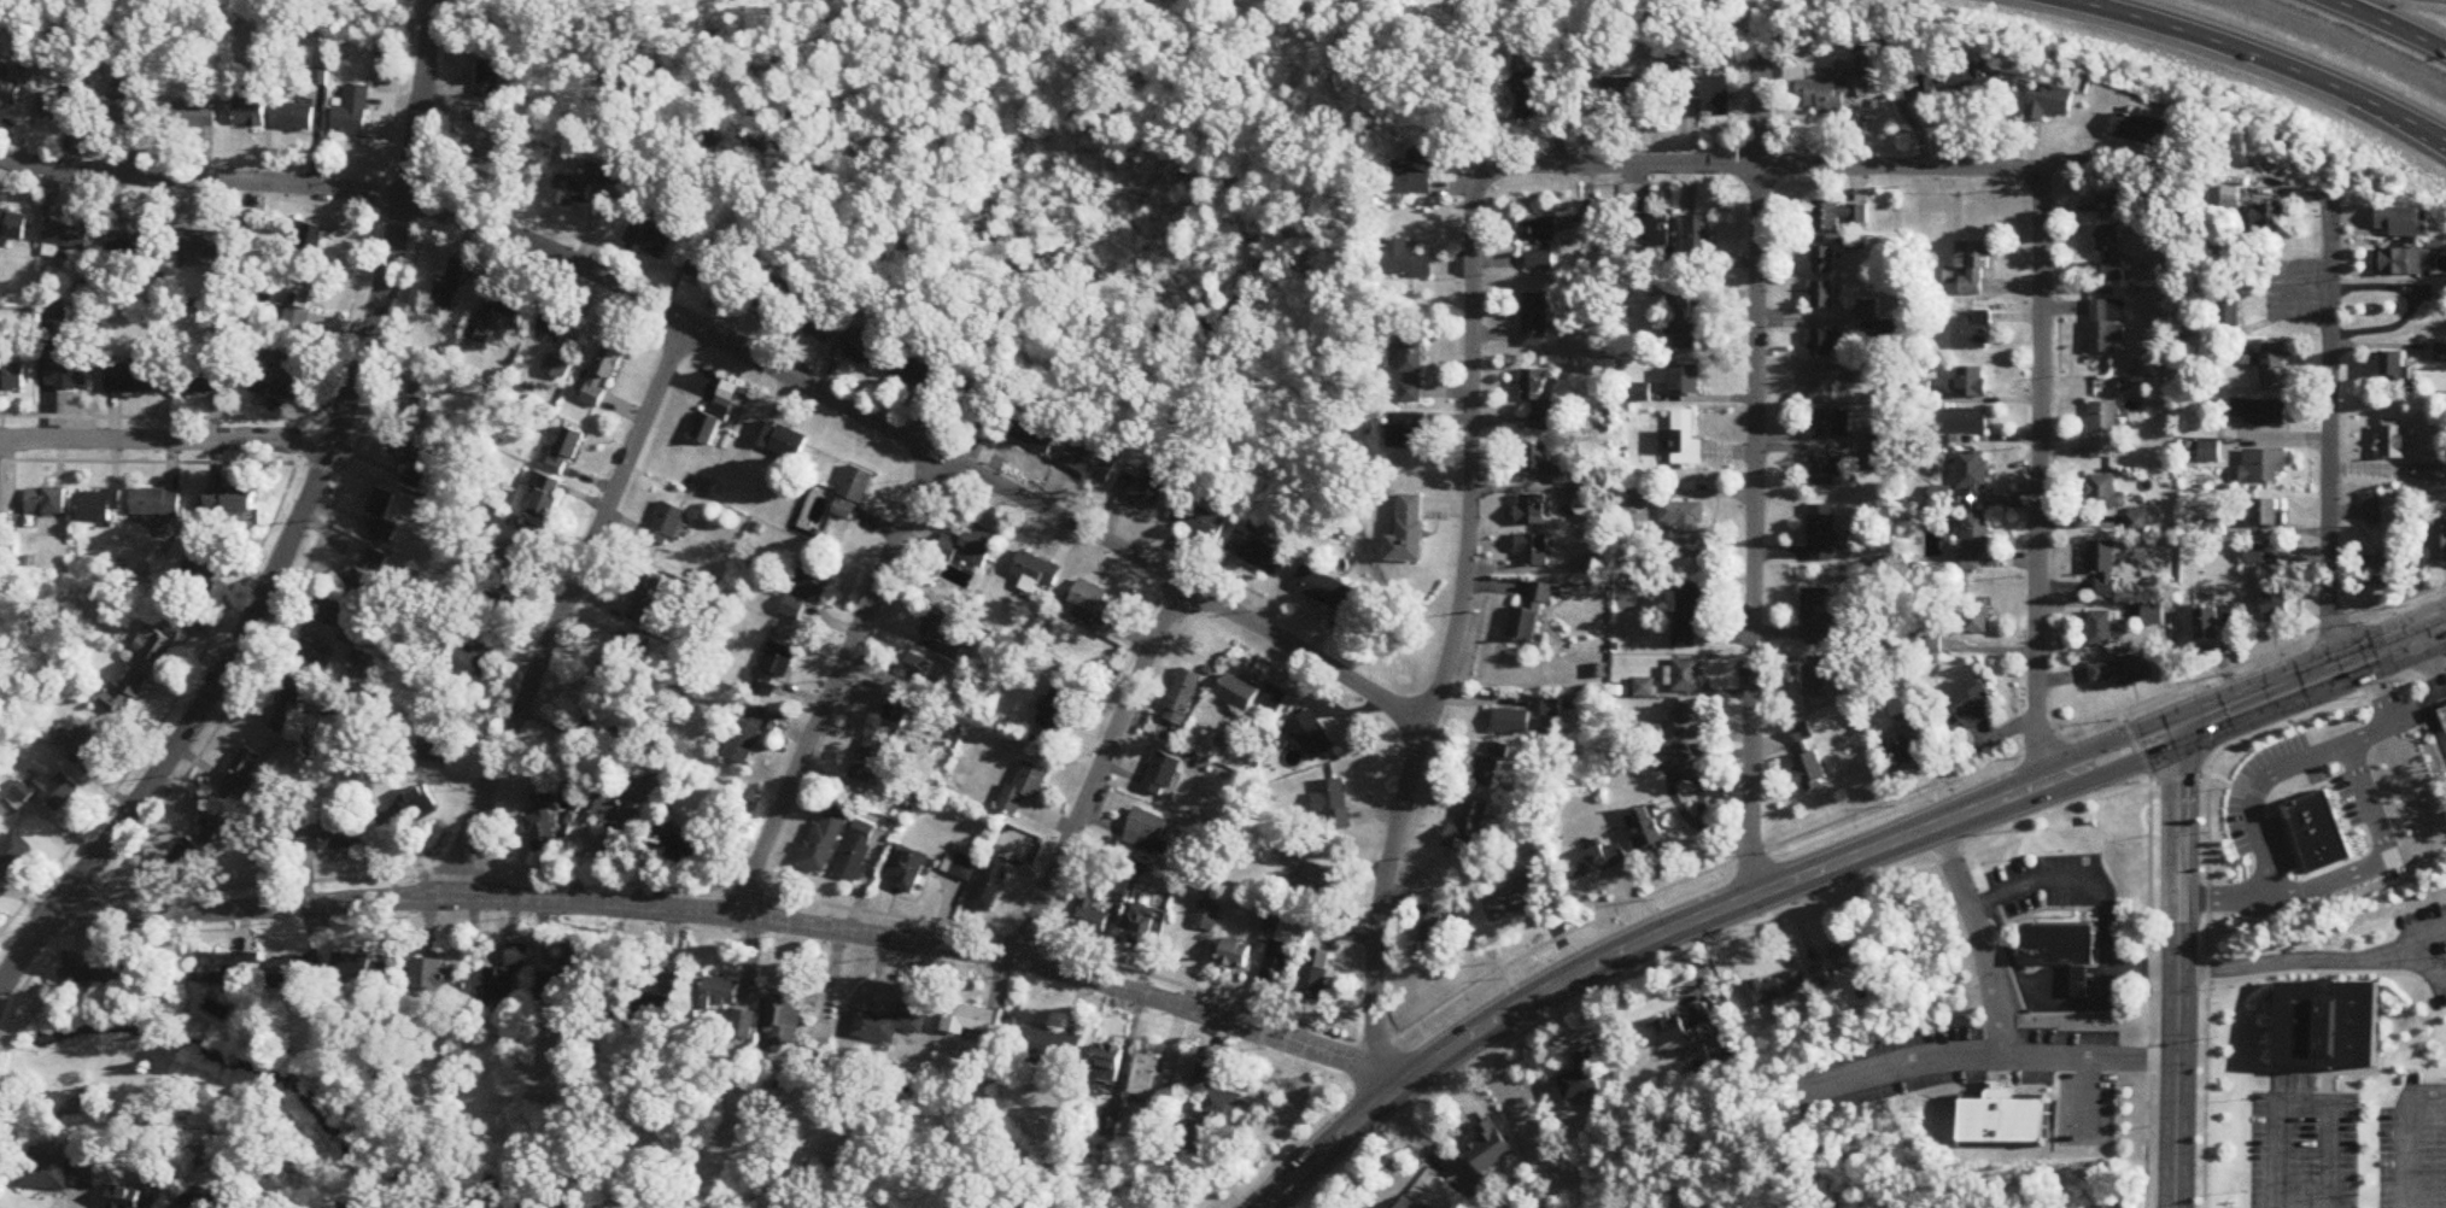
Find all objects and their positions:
road: (440, 4)
road: (2388, 24)
road: (2261, 57)
building: (1959, 78)
building: (492, 80)
building: (10, 88)
building: (1627, 90)
building: (1532, 93)
building: (1709, 94)
building: (1833, 94)
building: (2050, 101)
building: (62, 106)
building: (251, 110)
building: (112, 112)
building: (355, 112)
building: (191, 115)
building: (298, 117)
building: (2142, 129)
building: (496, 159)
road: (1761, 164)
building: (599, 171)
building: (1416, 174)
building: (572, 192)
building: (2119, 201)
building: (1837, 215)
building: (2270, 218)
building: (2405, 222)
building: (12, 227)
building: (1648, 229)
building: (1539, 230)
building: (68, 235)
building: (309, 238)
building: (650, 239)
building: (1697, 239)
building: (130, 240)
building: (200, 244)
building: (2111, 254)
building: (1404, 260)
building: (1824, 260)
building: (1540, 262)
building: (2404, 262)
building: (1972, 269)
building: (712, 272)
building: (451, 289)
building: (1824, 295)
building: (763, 298)
building: (302, 301)
building: (517, 304)
road: (2413, 305)
building: (1866, 311)
building: (2229, 311)
building: (1535, 321)
building: (1684, 322)
building: (55, 323)
building: (556, 326)
building: (817, 326)
building: (2106, 327)
building: (1973, 332)
building: (481, 333)
building: (1828, 342)
building: (864, 350)
road: (742, 351)
building: (2274, 364)
building: (283, 366)
building: (2394, 366)
building: (558, 368)
building: (1414, 371)
building: (66, 374)
building: (917, 374)
building: (12, 377)
building: (131, 377)
building: (602, 377)
building: (197, 379)
building: (1686, 381)
building: (1971, 383)
building: (1824, 386)
building: (421, 395)
building: (1537, 397)
building: (977, 403)
building: (2260, 412)
building: (715, 421)
building: (1967, 422)
building: (1830, 424)
road: (2329, 429)
building: (2102, 430)
building: (1034, 432)
building: (1409, 432)
road: (5, 438)
road: (170, 438)
building: (1680, 440)
building: (783, 441)
building: (2393, 442)
building: (408, 448)
building: (566, 452)
building: (1534, 458)
building: (1090, 463)
building: (2264, 468)
building: (1826, 469)
building: (1972, 473)
building: (2430, 473)
road: (1754, 474)
building: (416, 477)
road: (2038, 477)
building: (1146, 487)
building: (853, 494)
building: (2105, 494)
building: (545, 497)
building: (1941, 499)
building: (46, 502)
building: (229, 502)
building: (157, 503)
building: (98, 505)
building: (1535, 510)
building: (2374, 510)
building: (2265, 514)
building: (382, 516)
building: (1201, 522)
building: (2137, 522)
building: (667, 526)
building: (1685, 528)
road: (293, 532)
building: (1409, 533)
building: (1824, 533)
building: (2439, 540)
building: (1974, 541)
building: (969, 546)
building: (525, 549)
building: (1537, 549)
building: (1257, 553)
building: (2255, 556)
building: (206, 569)
building: (2105, 569)
building: (2381, 571)
building: (1035, 574)
building: (364, 575)
building: (1324, 591)
building: (807, 592)
building: (644, 597)
building: (1089, 603)
building: (2277, 603)
building: (496, 605)
road: (564, 612)
building: (329, 614)
building: (1686, 614)
building: (1531, 617)
building: (1818, 617)
building: (1977, 617)
building: (935, 627)
building: (2208, 627)
building: (2101, 631)
building: (164, 635)
road: (1455, 639)
road: (2395, 643)
building: (308, 656)
road: (2434, 657)
building: (474, 663)
building: (773, 668)
building: (918, 668)
building: (618, 670)
building: (2122, 672)
building: (1687, 676)
road: (837, 681)
building: (1816, 682)
road: (2436, 692)
building: (125, 694)
building: (1239, 694)
road: (2261, 696)
building: (1183, 698)
road: (2409, 703)
building: (287, 706)
building: (1058, 706)
building: (1967, 706)
building: (1271, 708)
building: (897, 710)
building: (2442, 713)
building: (1690, 717)
road: (2436, 719)
building: (1512, 722)
building: (597, 727)
building: (1311, 735)
building: (744, 737)
building: (1806, 738)
building: (84, 743)
building: (440, 747)
building: (408, 753)
building: (1907, 756)
building: (1674, 758)
building: (871, 763)
building: (1491, 768)
road: (1100, 769)
building: (1810, 773)
building: (1163, 774)
building: (242, 775)
building: (1024, 787)
building: (58, 792)
road: (1701, 792)
road: (1901, 793)
road: (2258, 796)
road: (1678, 799)
building: (1334, 804)
building: (406, 809)
building: (542, 826)
building: (609, 826)
building: (1648, 829)
building: (1468, 831)
building: (1147, 832)
building: (330, 834)
road: (2381, 838)
building: (825, 840)
building: (2327, 842)
building: (674, 846)
building: (858, 851)
road: (2206, 852)
building: (13, 856)
building: (188, 856)
building: (1597, 861)
building: (906, 868)
building: (964, 868)
parking lot: (2067, 876)
road: (2030, 880)
building: (991, 884)
building: (1316, 884)
parking lot: (2012, 885)
road: (2078, 892)
building: (1516, 899)
road: (2048, 907)
road: (738, 909)
building: (1094, 911)
road: (2081, 914)
building: (1207, 916)
building: (2059, 920)
road: (1695, 921)
road: (2081, 921)
building: (1145, 923)
building: (2096, 927)
parking lot: (2429, 928)
building: (1441, 931)
road: (1728, 932)
road: (1976, 936)
building: (2017, 937)
building: (2093, 938)
building: (2055, 942)
road: (490, 955)
building: (1235, 955)
road: (2148, 955)
building: (1847, 956)
road: (2315, 958)
road: (2404, 958)
road: (2429, 962)
building: (1277, 963)
road: (2140, 967)
road: (2177, 967)
building: (359, 968)
road: (2047, 969)
road: (2078, 969)
road: (2095, 969)
building: (229, 972)
road: (2330, 972)
building: (293, 973)
road: (2327, 975)
road: (2, 977)
building: (99, 977)
building: (434, 977)
building: (2078, 978)
building: (498, 979)
road: (2044, 979)
road: (2078, 979)
road: (2095, 979)
building: (568, 984)
building: (1312, 984)
road: (2046, 989)
road: (2078, 989)
road: (2095, 989)
building: (1779, 990)
building: (720, 993)
parking lot: (2440, 998)
road: (2072, 1003)
building: (640, 1008)
building: (784, 1020)
building: (972, 1020)
building: (2325, 1022)
building: (891, 1025)
building: (744, 1026)
building: (1684, 1027)
building: (1053, 1048)
parking lot: (2048, 1049)
road: (1985, 1055)
building: (1108, 1065)
parking lot: (1890, 1066)
road: (2322, 1071)
building: (1152, 1080)
building: (1582, 1080)
road: (2327, 1085)
road: (2087, 1099)
road: (2302, 1103)
parking lot: (2087, 1107)
building: (1213, 1110)
building: (1112, 1120)
building: (2005, 1121)
road: (2405, 1131)
road: (1427, 1145)
parking lot: (2301, 1145)
building: (1490, 1148)
parking lot: (2412, 1155)
building: (45, 1174)
building: (134, 1198)
building: (201, 1202)
building: (1409, 1204)

